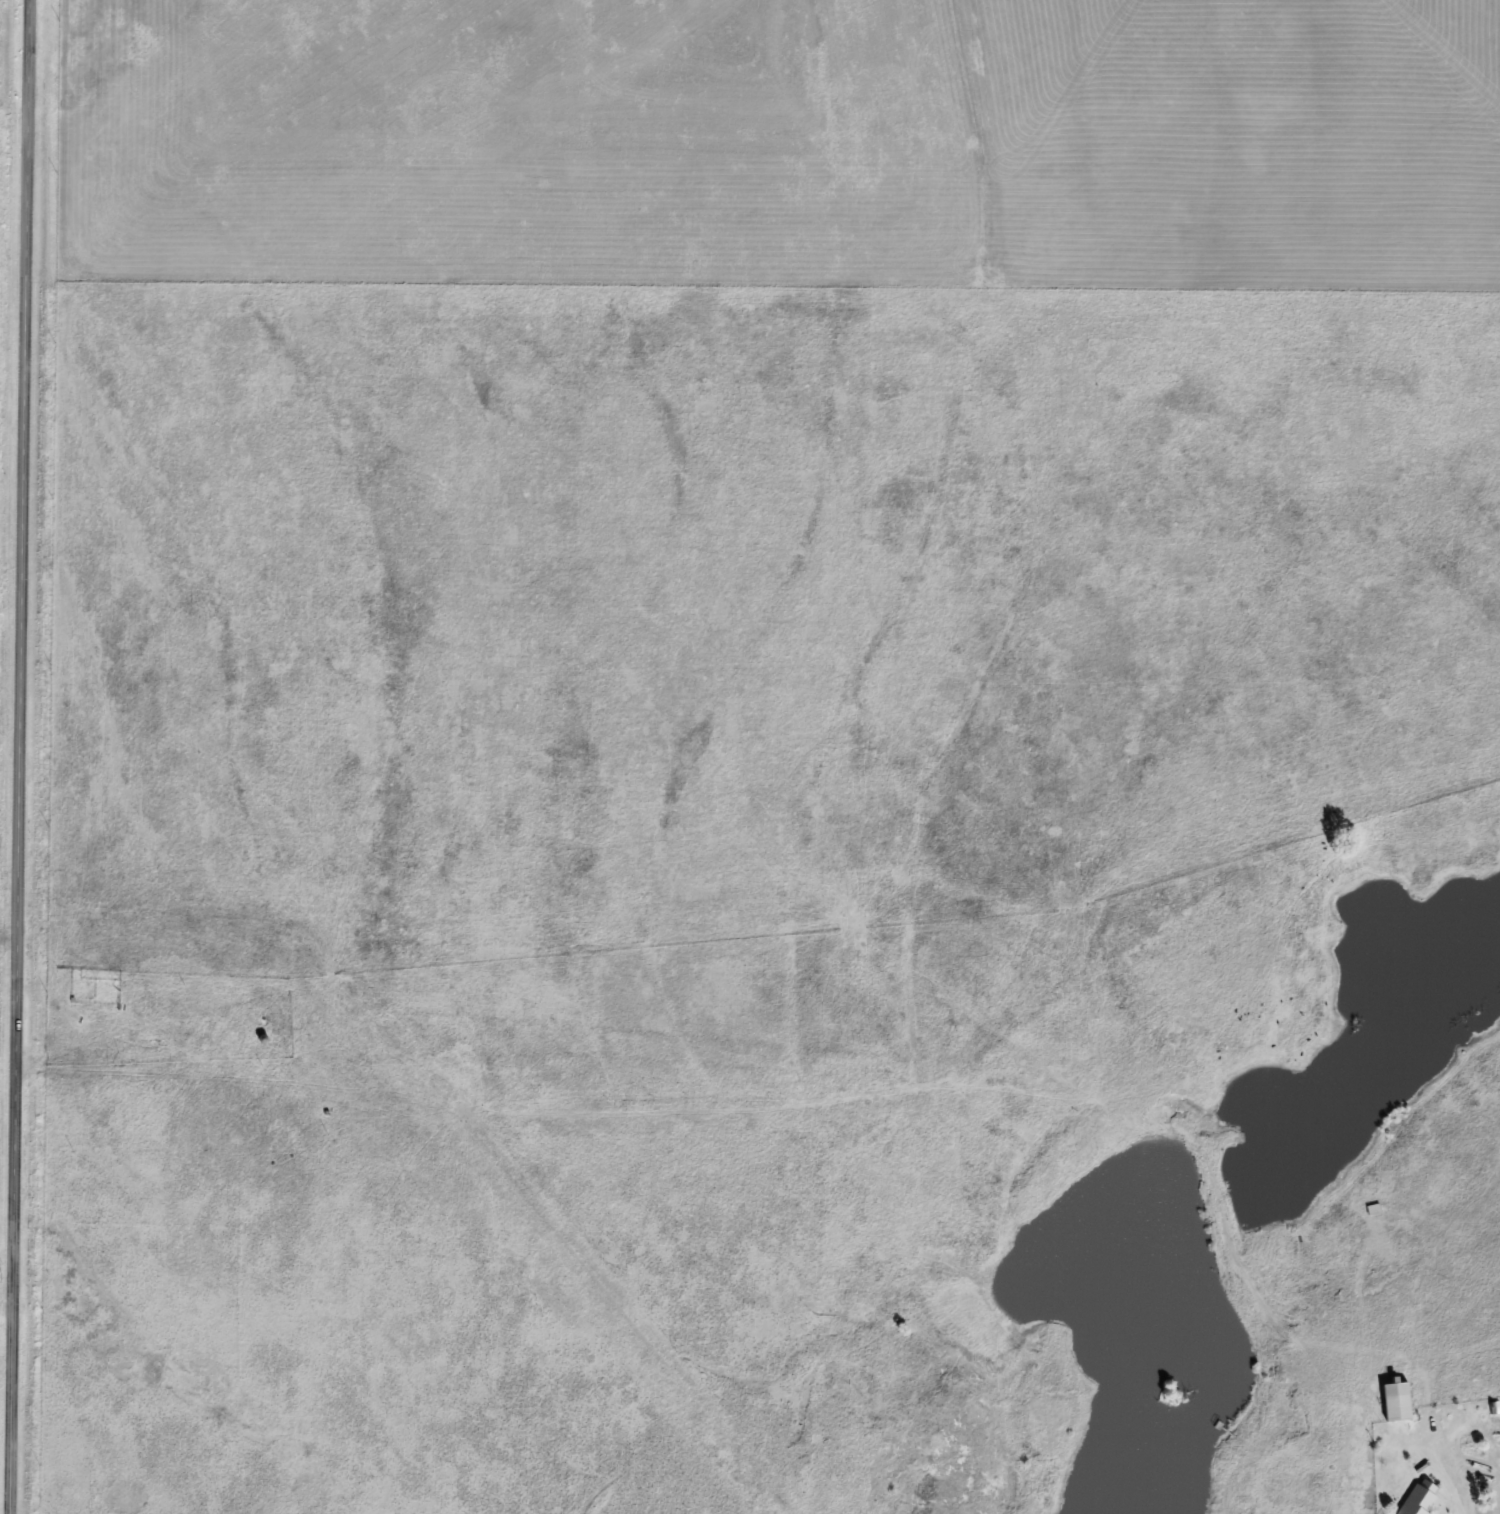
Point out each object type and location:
road: (12, 756)
building: (265, 1038)
building: (1374, 1209)
building: (1394, 1400)
building: (1419, 1498)

